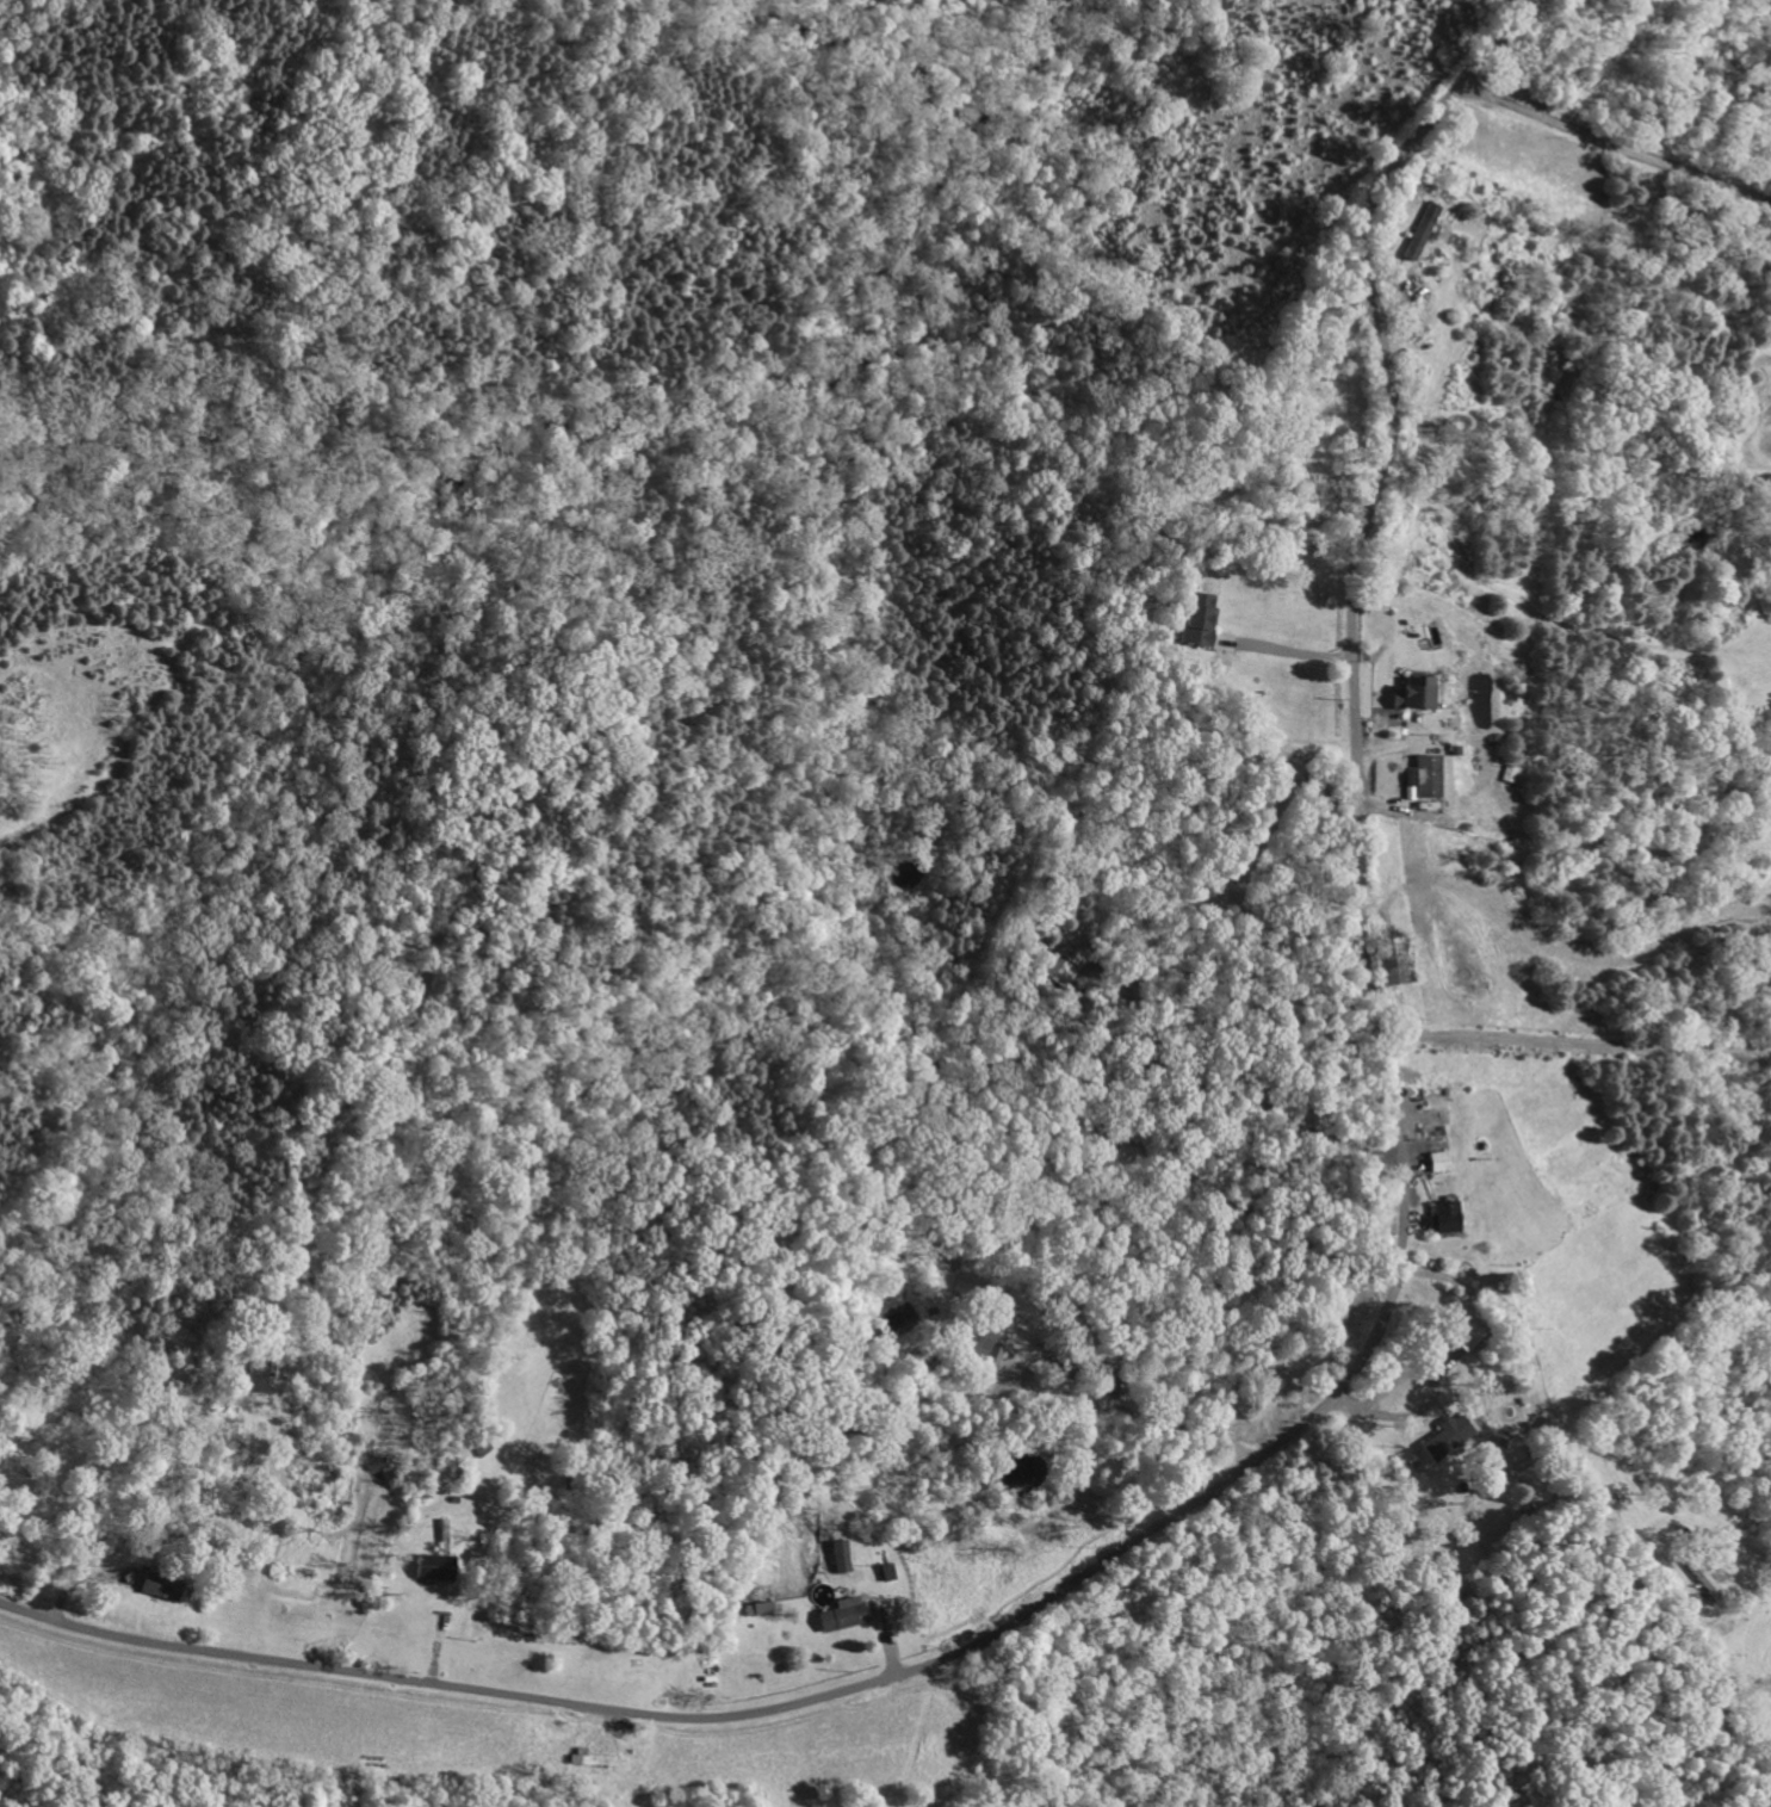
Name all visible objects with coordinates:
road: (1616, 142)
building: (1414, 233)
road: (1292, 649)
building: (1418, 692)
building: (1428, 775)
road: (1249, 1095)
building: (1439, 1161)
building: (1445, 1217)
building: (1469, 1337)
building: (985, 1344)
road: (1354, 1374)
road: (1439, 1388)
road: (1144, 1415)
building: (1450, 1437)
road: (1600, 1481)
building: (842, 1557)
building: (435, 1566)
building: (162, 1586)
building: (758, 1608)
building: (843, 1616)

